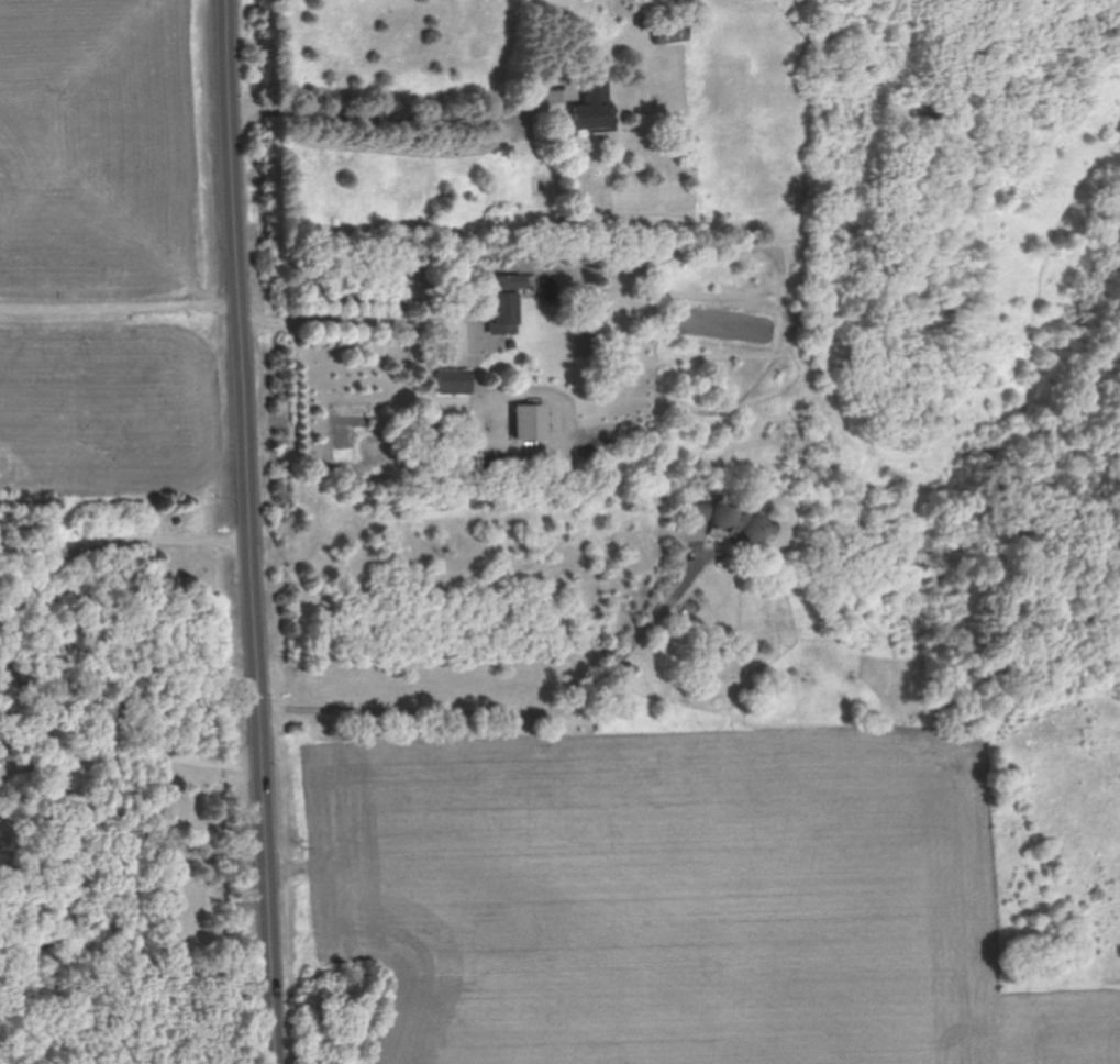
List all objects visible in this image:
building: (666, 32)
building: (588, 107)
road: (395, 118)
road: (121, 301)
building: (501, 301)
road: (365, 320)
building: (451, 381)
building: (526, 421)
road: (1016, 422)
park: (1050, 466)
building: (720, 522)
road: (255, 531)
road: (111, 543)
road: (521, 713)
road: (131, 753)

